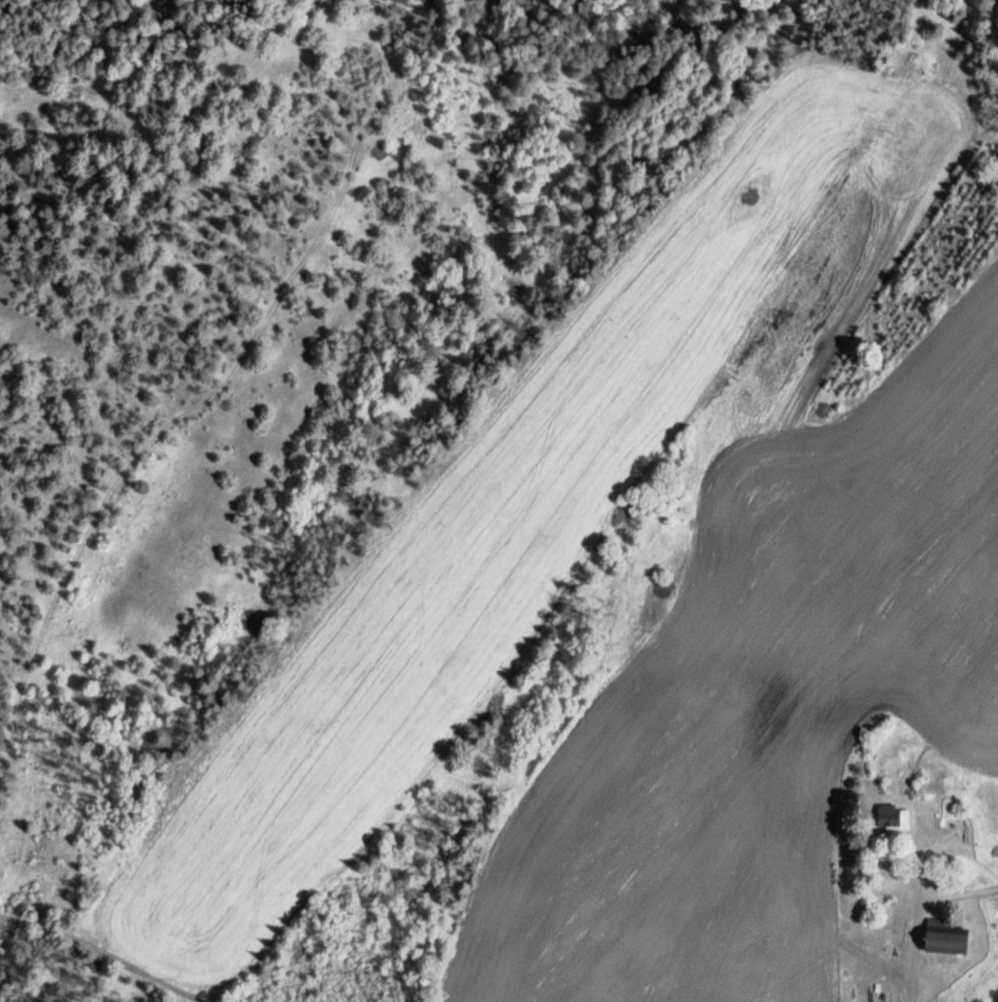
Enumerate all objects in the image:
building: (894, 818)
road: (913, 929)
building: (946, 937)
road: (88, 956)

